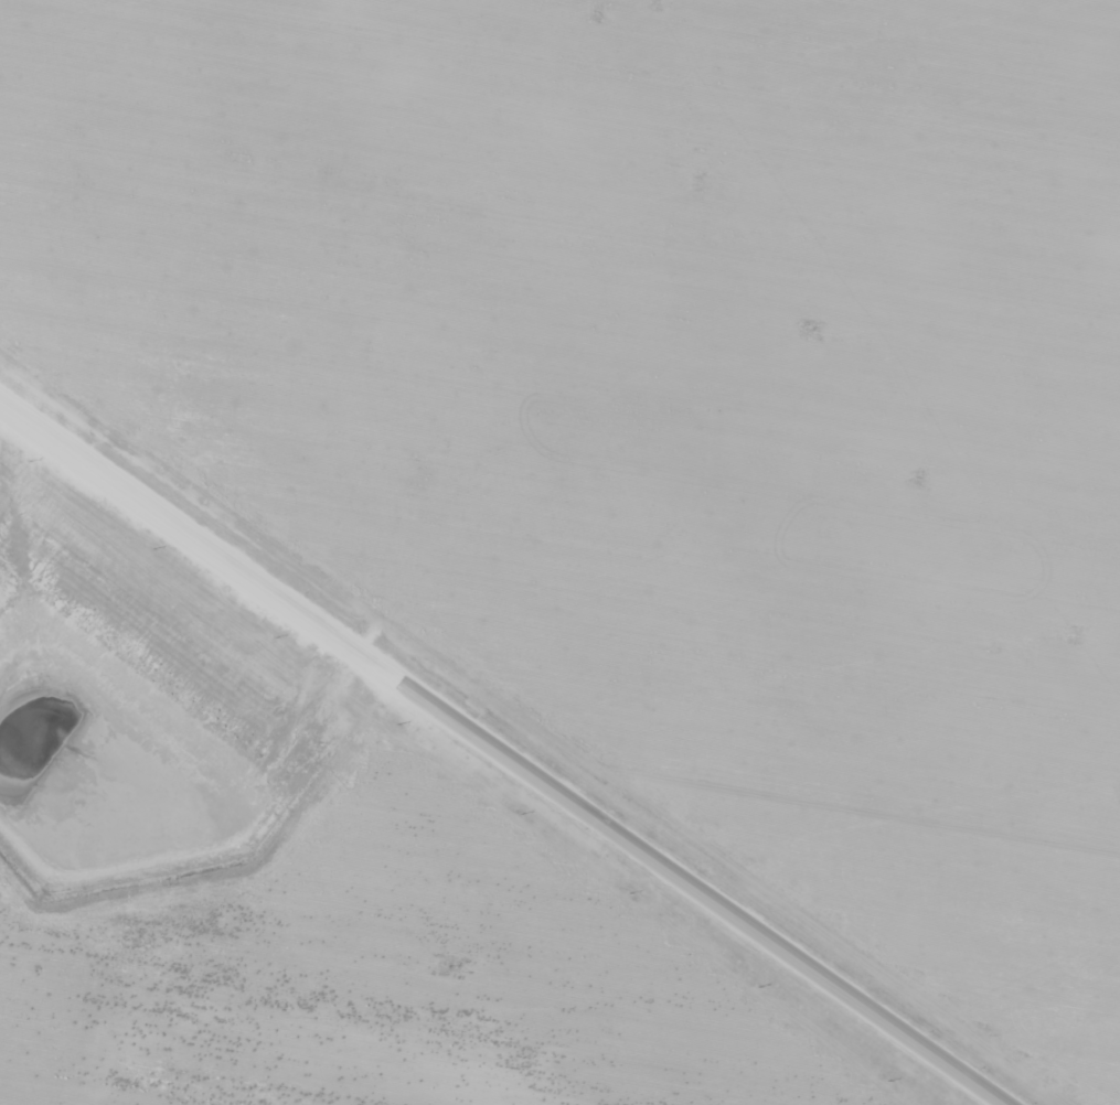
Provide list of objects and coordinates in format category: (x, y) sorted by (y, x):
landfill: (23, 154)
road: (503, 753)

